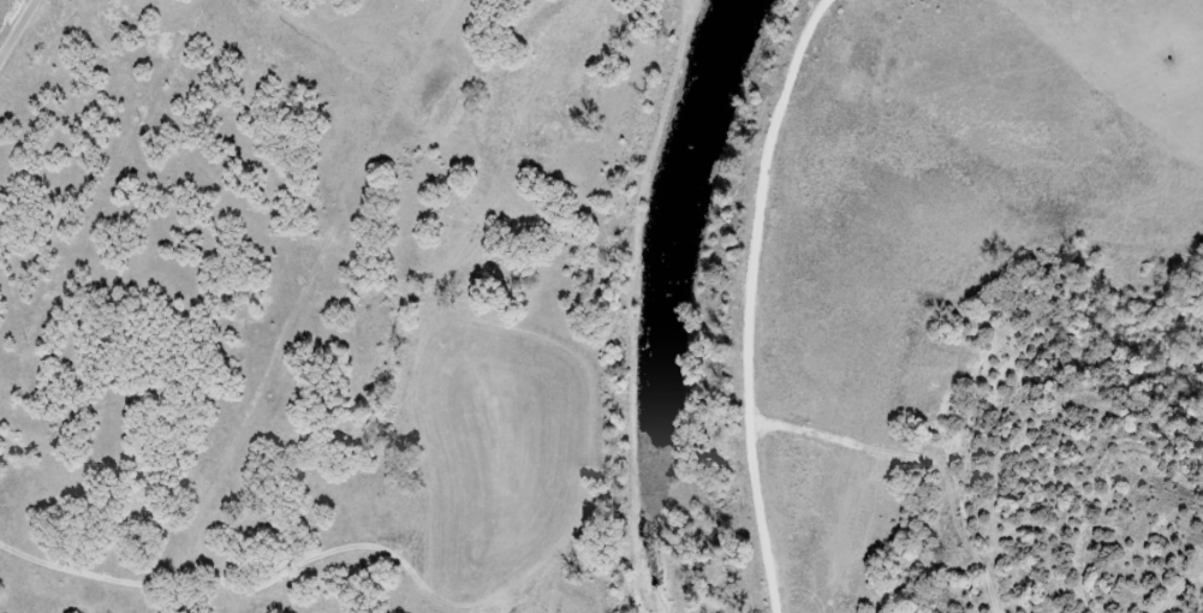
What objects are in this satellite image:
road: (17, 28)

